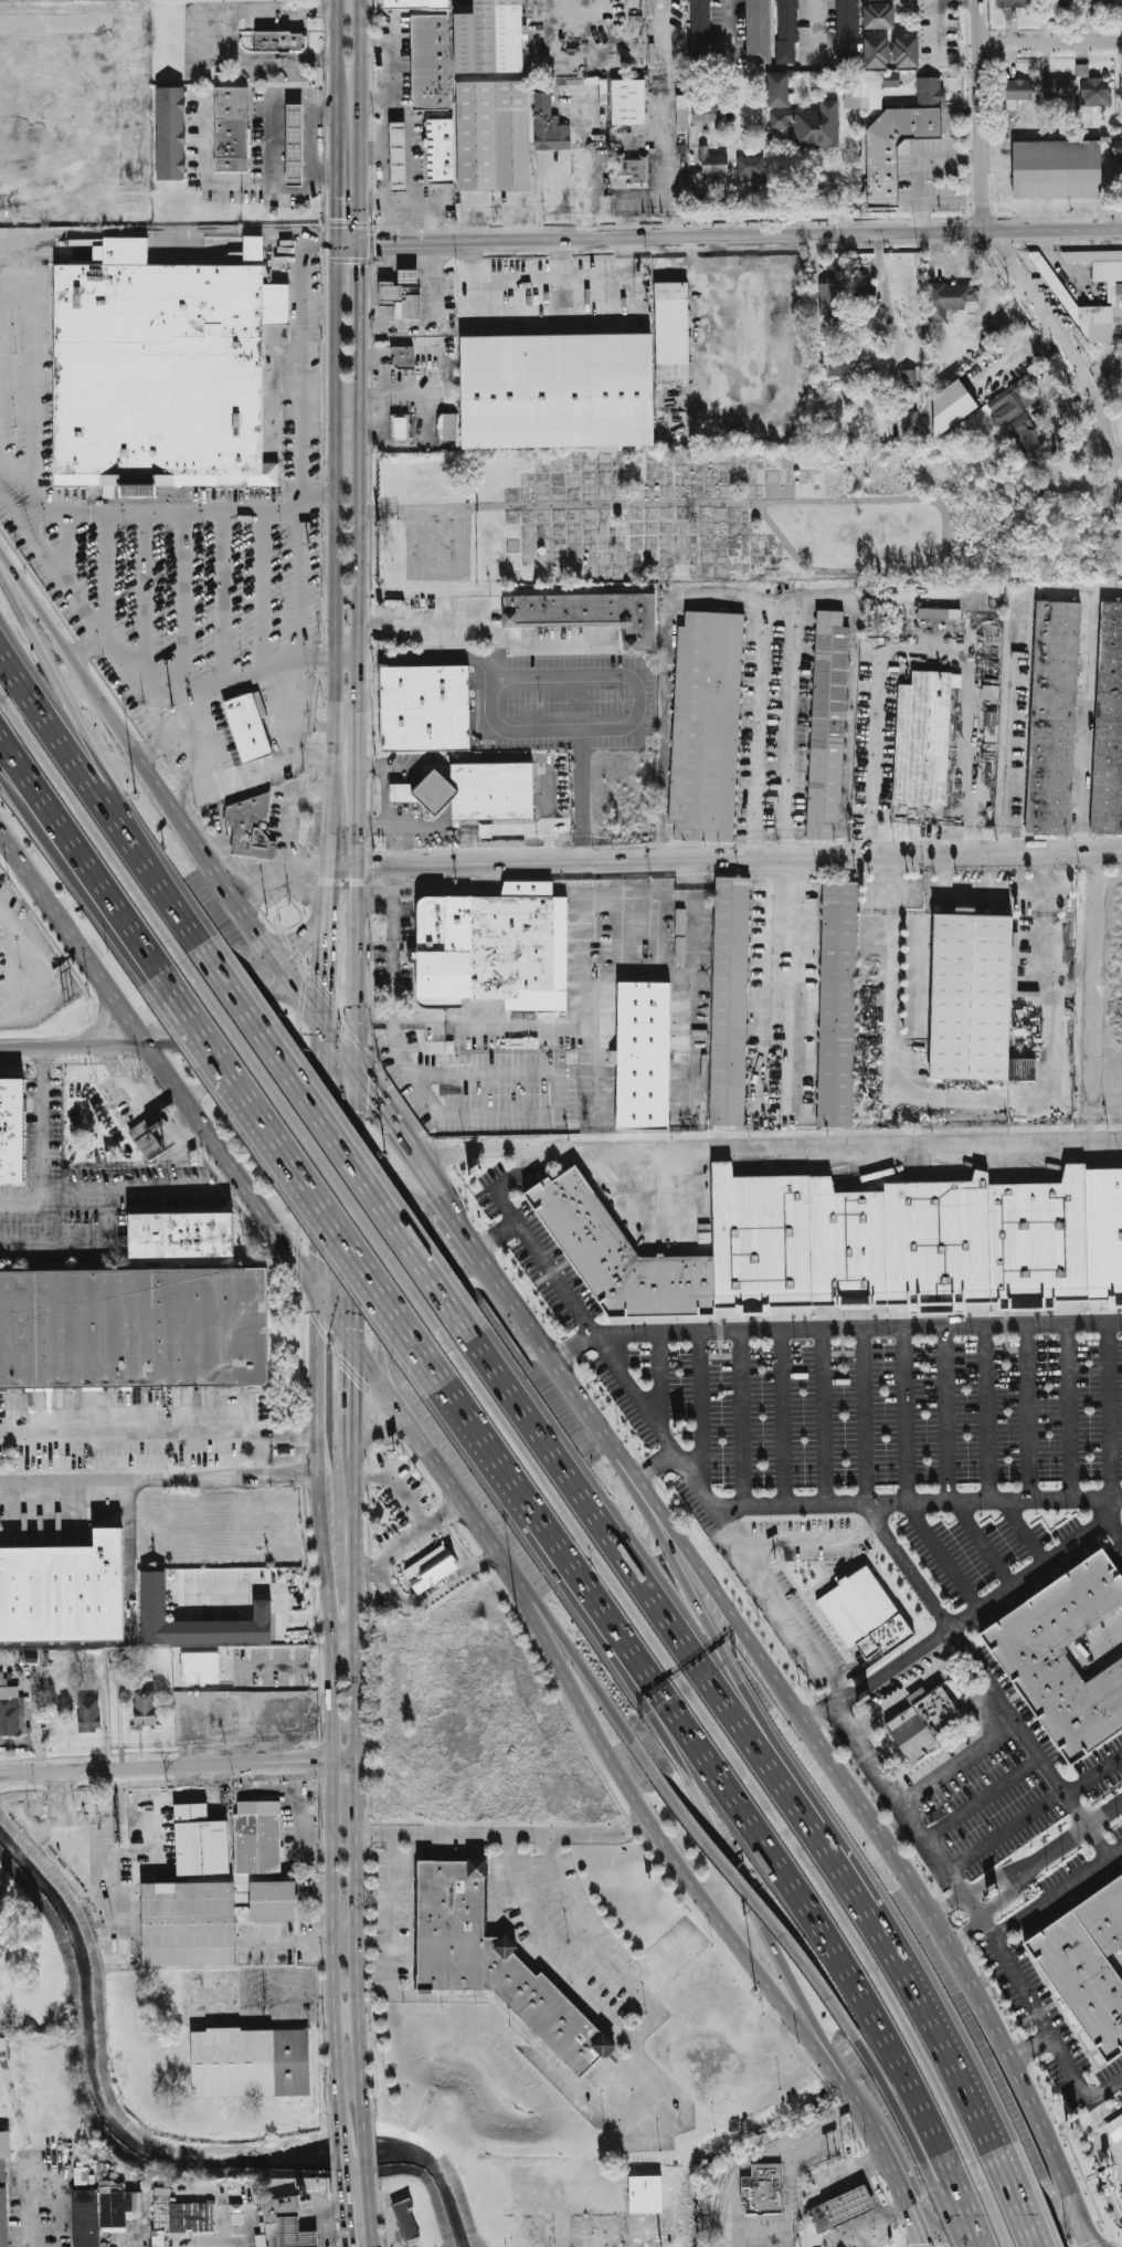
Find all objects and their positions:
building: (881, 2)
building: (1013, 3)
building: (1100, 3)
road: (579, 4)
building: (415, 7)
building: (1055, 7)
building: (1120, 11)
building: (700, 21)
building: (882, 21)
road: (723, 25)
road: (813, 27)
road: (935, 31)
building: (760, 36)
building: (785, 36)
building: (848, 36)
road: (190, 41)
road: (234, 42)
building: (491, 42)
road: (1050, 43)
building: (280, 48)
road: (336, 52)
building: (880, 57)
building: (908, 57)
building: (432, 70)
building: (890, 78)
building: (1092, 85)
building: (1121, 86)
building: (1057, 88)
building: (1018, 90)
building: (779, 96)
building: (931, 96)
building: (865, 97)
road: (272, 102)
building: (631, 108)
road: (104, 111)
building: (702, 112)
road: (389, 113)
road: (586, 117)
road: (671, 118)
building: (706, 119)
building: (684, 120)
building: (230, 127)
building: (811, 132)
building: (550, 133)
building: (427, 135)
building: (289, 139)
gas station: (289, 139)
building: (169, 140)
building: (494, 143)
building: (1118, 146)
road: (309, 151)
building: (896, 154)
building: (441, 157)
building: (400, 164)
gas station: (400, 164)
road: (920, 165)
building: (1059, 166)
road: (382, 167)
building: (427, 167)
road: (204, 168)
building: (715, 170)
building: (753, 172)
road: (335, 174)
building: (634, 175)
road: (295, 188)
road: (590, 192)
road: (427, 209)
road: (391, 210)
traffic signals: (335, 223)
road: (172, 231)
road: (782, 234)
road: (21, 235)
road: (318, 244)
traffic signals: (321, 244)
traffic signals: (380, 246)
road: (388, 246)
traffic signals: (362, 274)
road: (610, 276)
road: (515, 279)
building: (410, 283)
gas station: (410, 283)
road: (1022, 286)
building: (1063, 290)
building: (389, 298)
gas station: (389, 298)
building: (843, 298)
building: (945, 298)
road: (882, 303)
building: (410, 309)
road: (515, 323)
building: (998, 327)
building: (673, 338)
road: (362, 344)
building: (404, 364)
building: (836, 364)
building: (156, 368)
road: (300, 368)
road: (32, 378)
building: (907, 379)
building: (559, 399)
road: (379, 402)
building: (1005, 405)
building: (951, 407)
road: (424, 413)
building: (911, 418)
building: (400, 434)
building: (448, 434)
building: (1029, 440)
road: (349, 447)
road: (390, 452)
building: (227, 460)
road: (1116, 460)
building: (174, 484)
road: (319, 492)
road: (336, 498)
road: (561, 505)
road: (168, 511)
park: (719, 517)
road: (70, 548)
road: (946, 550)
parking lot: (438, 554)
road: (371, 564)
road: (105, 570)
road: (437, 576)
road: (71, 586)
road: (298, 586)
road: (1070, 591)
road: (261, 594)
road: (145, 597)
road: (221, 597)
road: (727, 599)
road: (183, 602)
road: (32, 603)
building: (939, 613)
building: (591, 620)
parking lot: (434, 627)
road: (488, 634)
road: (88, 643)
parking lot: (571, 643)
road: (348, 661)
road: (240, 680)
road: (610, 681)
road: (850, 700)
road: (103, 701)
parking lot: (570, 710)
road: (71, 713)
building: (427, 715)
building: (1051, 717)
building: (250, 722)
building: (830, 724)
road: (1010, 724)
road: (1083, 724)
building: (709, 725)
building: (1107, 725)
building: (991, 726)
road: (972, 727)
road: (756, 732)
road: (173, 734)
building: (921, 739)
road: (157, 745)
road: (310, 748)
road: (70, 753)
road: (874, 754)
road: (334, 760)
road: (274, 763)
road: (512, 763)
road: (357, 780)
road: (383, 798)
building: (495, 798)
building: (425, 799)
road: (580, 804)
road: (177, 810)
road: (331, 819)
building: (254, 822)
road: (371, 830)
road: (96, 836)
road: (398, 858)
road: (70, 861)
road: (86, 864)
road: (740, 864)
road: (343, 871)
road: (739, 873)
road: (329, 886)
road: (232, 890)
road: (976, 894)
road: (179, 912)
road: (321, 914)
road: (72, 935)
road: (289, 938)
road: (393, 942)
road: (299, 946)
building: (495, 949)
road: (326, 963)
road: (675, 972)
road: (358, 974)
road: (38, 976)
road: (772, 993)
road: (797, 993)
road: (304, 995)
traffic signals: (325, 995)
building: (972, 997)
road: (1094, 997)
building: (728, 1000)
building: (836, 1004)
road: (102, 1019)
road: (546, 1019)
road: (222, 1022)
road: (100, 1043)
road: (134, 1044)
road: (39, 1047)
road: (40, 1053)
building: (646, 1053)
road: (448, 1077)
traffic signals: (367, 1089)
road: (974, 1098)
traffic signals: (358, 1111)
road: (383, 1112)
road: (475, 1119)
road: (40, 1127)
building: (10, 1130)
building: (146, 1135)
road: (337, 1140)
road: (860, 1142)
road: (505, 1149)
road: (319, 1154)
road: (315, 1155)
road: (294, 1170)
road: (432, 1183)
road: (232, 1184)
road: (162, 1191)
road: (72, 1194)
road: (356, 1208)
road: (385, 1208)
building: (179, 1233)
road: (493, 1233)
road: (440, 1238)
building: (914, 1239)
road: (76, 1245)
traffic signals: (292, 1251)
road: (479, 1251)
building: (617, 1254)
traffic signals: (317, 1256)
road: (305, 1269)
road: (528, 1322)
building: (131, 1327)
road: (856, 1330)
road: (572, 1347)
traffic signals: (354, 1383)
road: (657, 1384)
road: (354, 1387)
road: (700, 1410)
road: (1109, 1410)
road: (1071, 1411)
road: (1027, 1413)
parking lot: (890, 1414)
road: (986, 1414)
road: (907, 1415)
road: (946, 1415)
road: (864, 1416)
road: (824, 1417)
road: (784, 1418)
road: (594, 1419)
road: (740, 1419)
road: (135, 1424)
road: (380, 1429)
road: (294, 1434)
road: (356, 1448)
road: (356, 1469)
road: (654, 1469)
road: (293, 1471)
road: (135, 1477)
road: (398, 1488)
road: (522, 1499)
road: (915, 1501)
parking lot: (405, 1514)
road: (718, 1525)
road: (1112, 1526)
road: (1025, 1530)
road: (807, 1536)
road: (407, 1537)
road: (454, 1541)
road: (983, 1542)
road: (621, 1551)
parking lot: (975, 1551)
road: (495, 1552)
road: (941, 1555)
road: (483, 1558)
building: (432, 1568)
road: (465, 1569)
road: (389, 1585)
road: (272, 1588)
building: (65, 1589)
road: (432, 1594)
building: (156, 1609)
road: (963, 1615)
building: (862, 1616)
road: (546, 1623)
road: (540, 1624)
road: (342, 1630)
road: (709, 1635)
building: (1062, 1655)
building: (200, 1665)
road: (974, 1666)
road: (287, 1667)
road: (970, 1687)
road: (906, 1690)
building: (914, 1695)
road: (914, 1695)
road: (328, 1698)
road: (895, 1707)
building: (144, 1708)
building: (88, 1713)
road: (615, 1713)
road: (998, 1714)
building: (12, 1716)
building: (921, 1721)
building: (924, 1750)
road: (735, 1758)
road: (957, 1764)
road: (179, 1766)
road: (1091, 1775)
road: (358, 1792)
road: (982, 1800)
road: (1004, 1831)
road: (528, 1835)
building: (260, 1837)
road: (1098, 1838)
building: (203, 1840)
road: (724, 1848)
road: (888, 1849)
road: (670, 1851)
road: (1047, 1852)
road: (389, 1884)
road: (1056, 1889)
building: (274, 1900)
road: (950, 1901)
road: (765, 1904)
road: (809, 1908)
parking lot: (391, 1922)
building: (190, 1923)
road: (967, 1928)
parking lot: (671, 1942)
parking lot: (578, 1949)
building: (491, 1960)
building: (1087, 1964)
road: (908, 1997)
road: (345, 2018)
road: (1041, 2018)
road: (517, 2024)
road: (631, 2038)
road: (1030, 2046)
road: (828, 2050)
road: (824, 2054)
building: (251, 2062)
road: (838, 2069)
parking lot: (652, 2098)
road: (903, 2106)
building: (1118, 2123)
road: (865, 2130)
building: (3, 2143)
road: (366, 2149)
road: (30, 2150)
road: (342, 2152)
river: (148, 2153)
road: (890, 2160)
road: (1097, 2166)
building: (80, 2175)
building: (762, 2190)
building: (645, 2193)
road: (957, 2199)
building: (114, 2204)
building: (848, 2205)
building: (2, 2206)
building: (282, 2208)
road: (370, 2217)
building: (821, 2217)
building: (83, 2218)
building: (177, 2218)
building: (406, 2218)
road: (347, 2220)
road: (787, 2226)
road: (1001, 2230)
road: (1028, 2230)
road: (970, 2232)
building: (296, 2235)
gas station: (296, 2235)
road: (786, 2237)
traffic signals: (928, 2243)
road: (1014, 2244)

